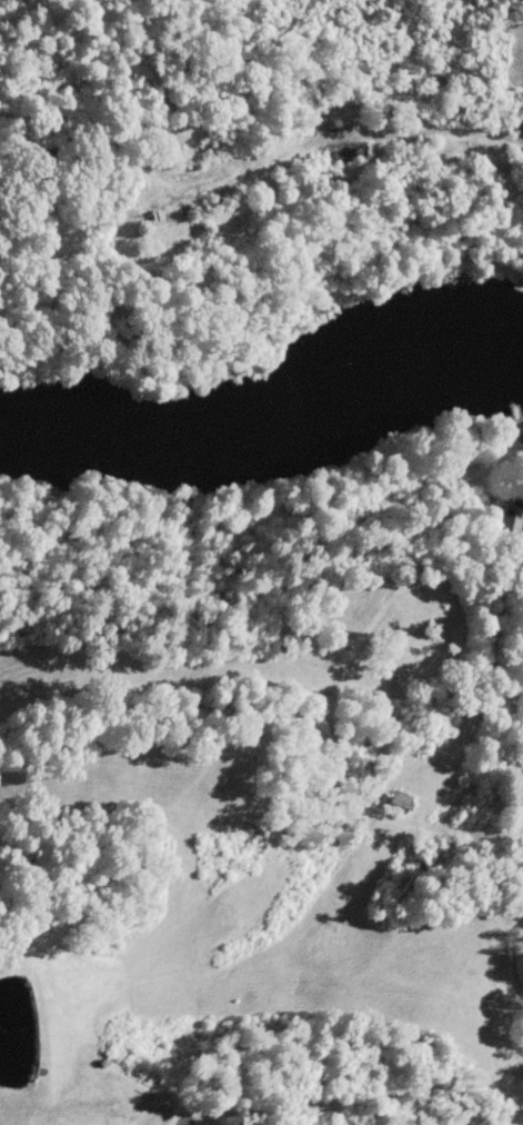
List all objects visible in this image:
building: (398, 802)

